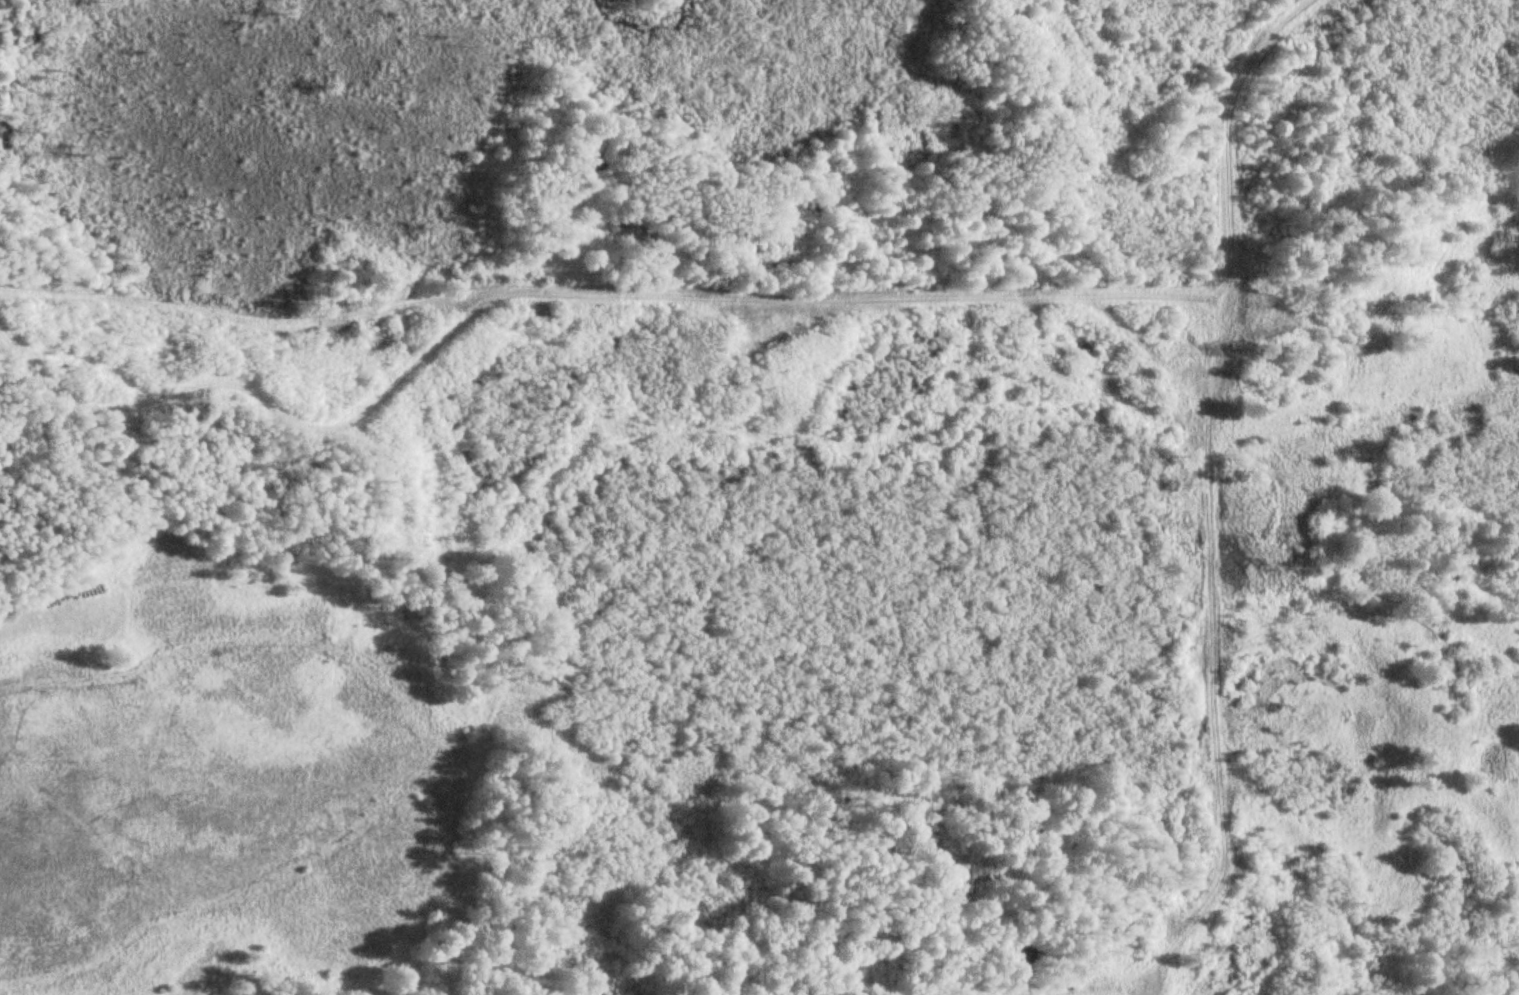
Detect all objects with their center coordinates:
road: (771, 298)
road: (255, 393)

